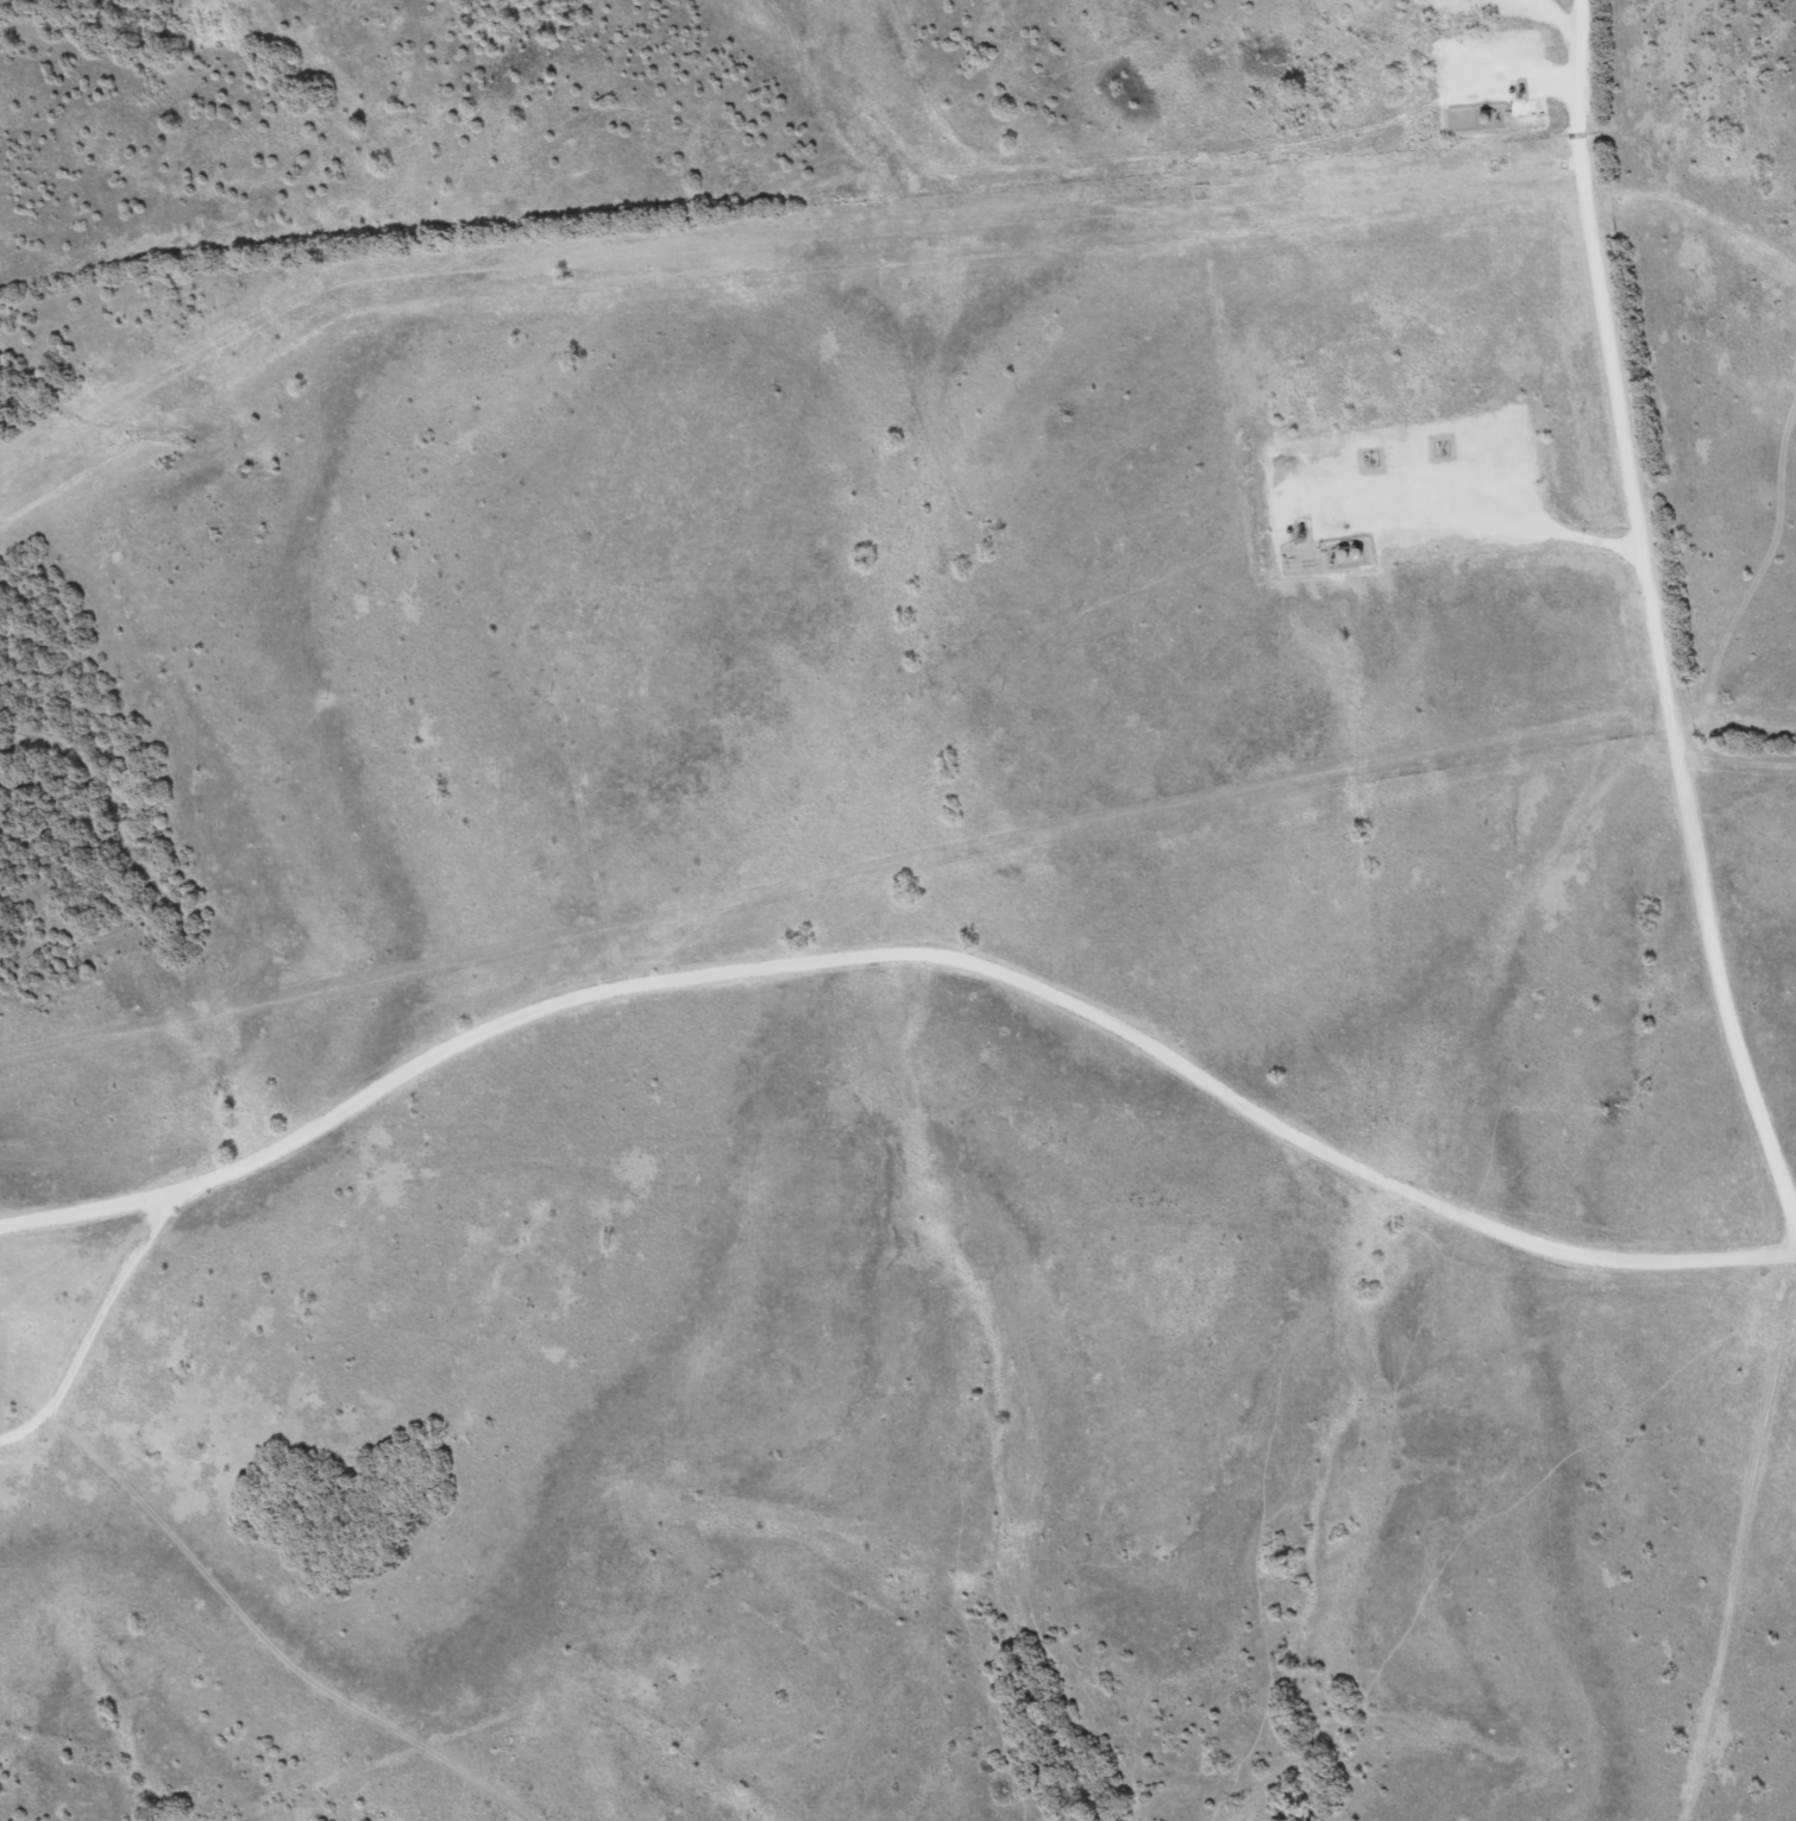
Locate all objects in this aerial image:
road: (1558, 8)
road: (1461, 503)
road: (1651, 617)
road: (905, 950)
road: (92, 1330)

